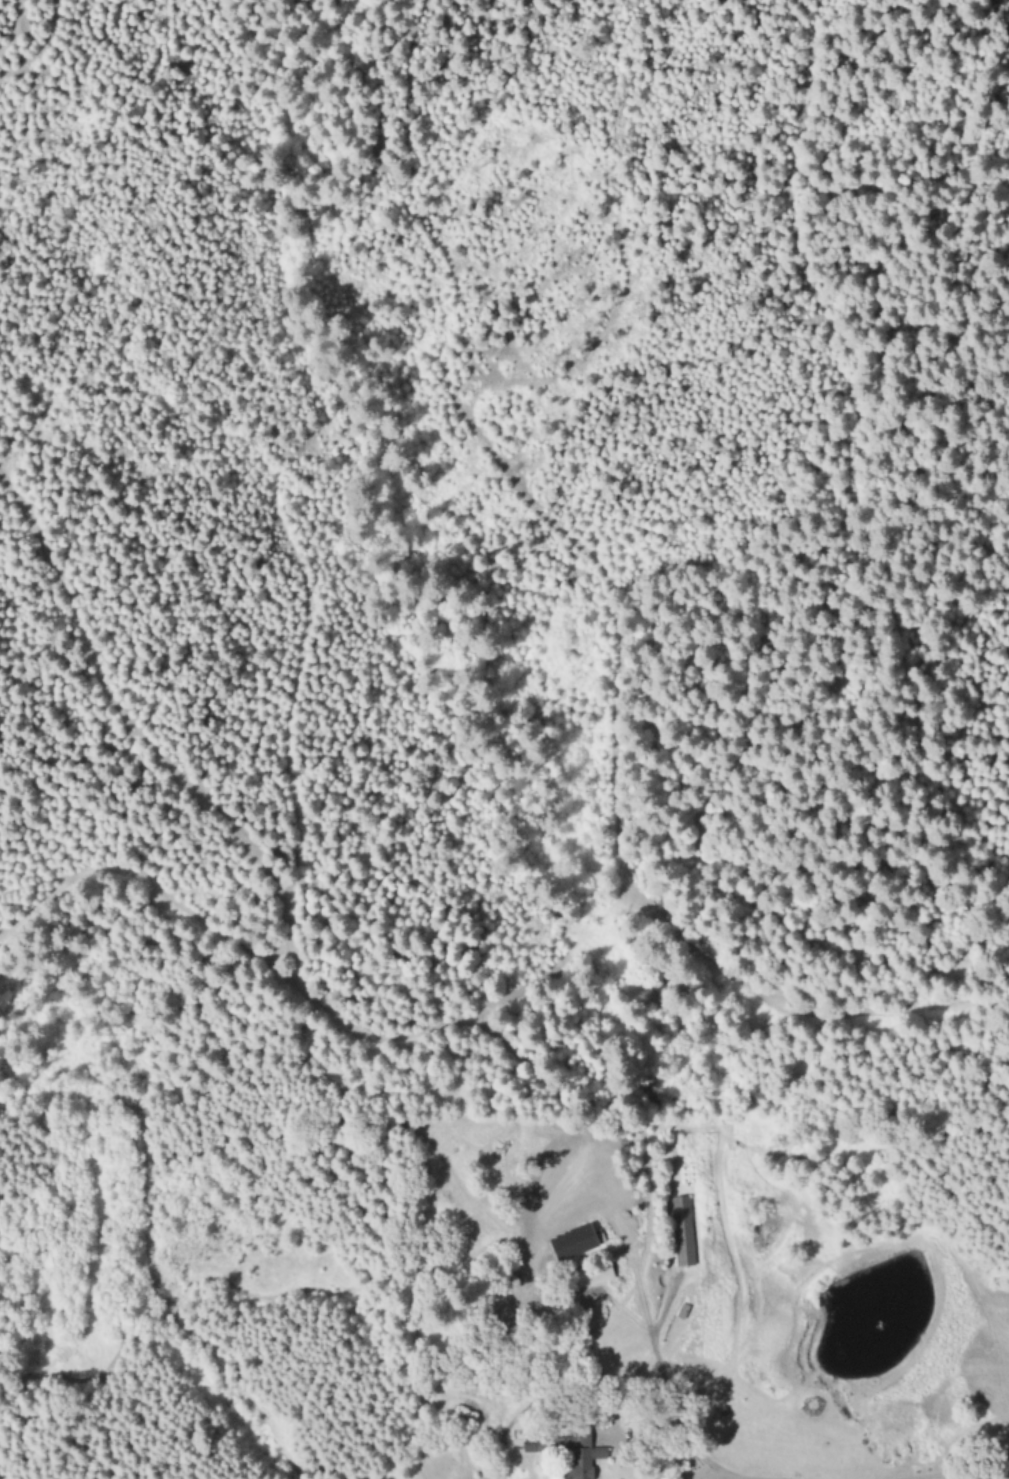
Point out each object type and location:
building: (678, 1233)
building: (568, 1245)
building: (586, 1276)
building: (565, 1450)
road: (941, 1472)
road: (701, 1475)

